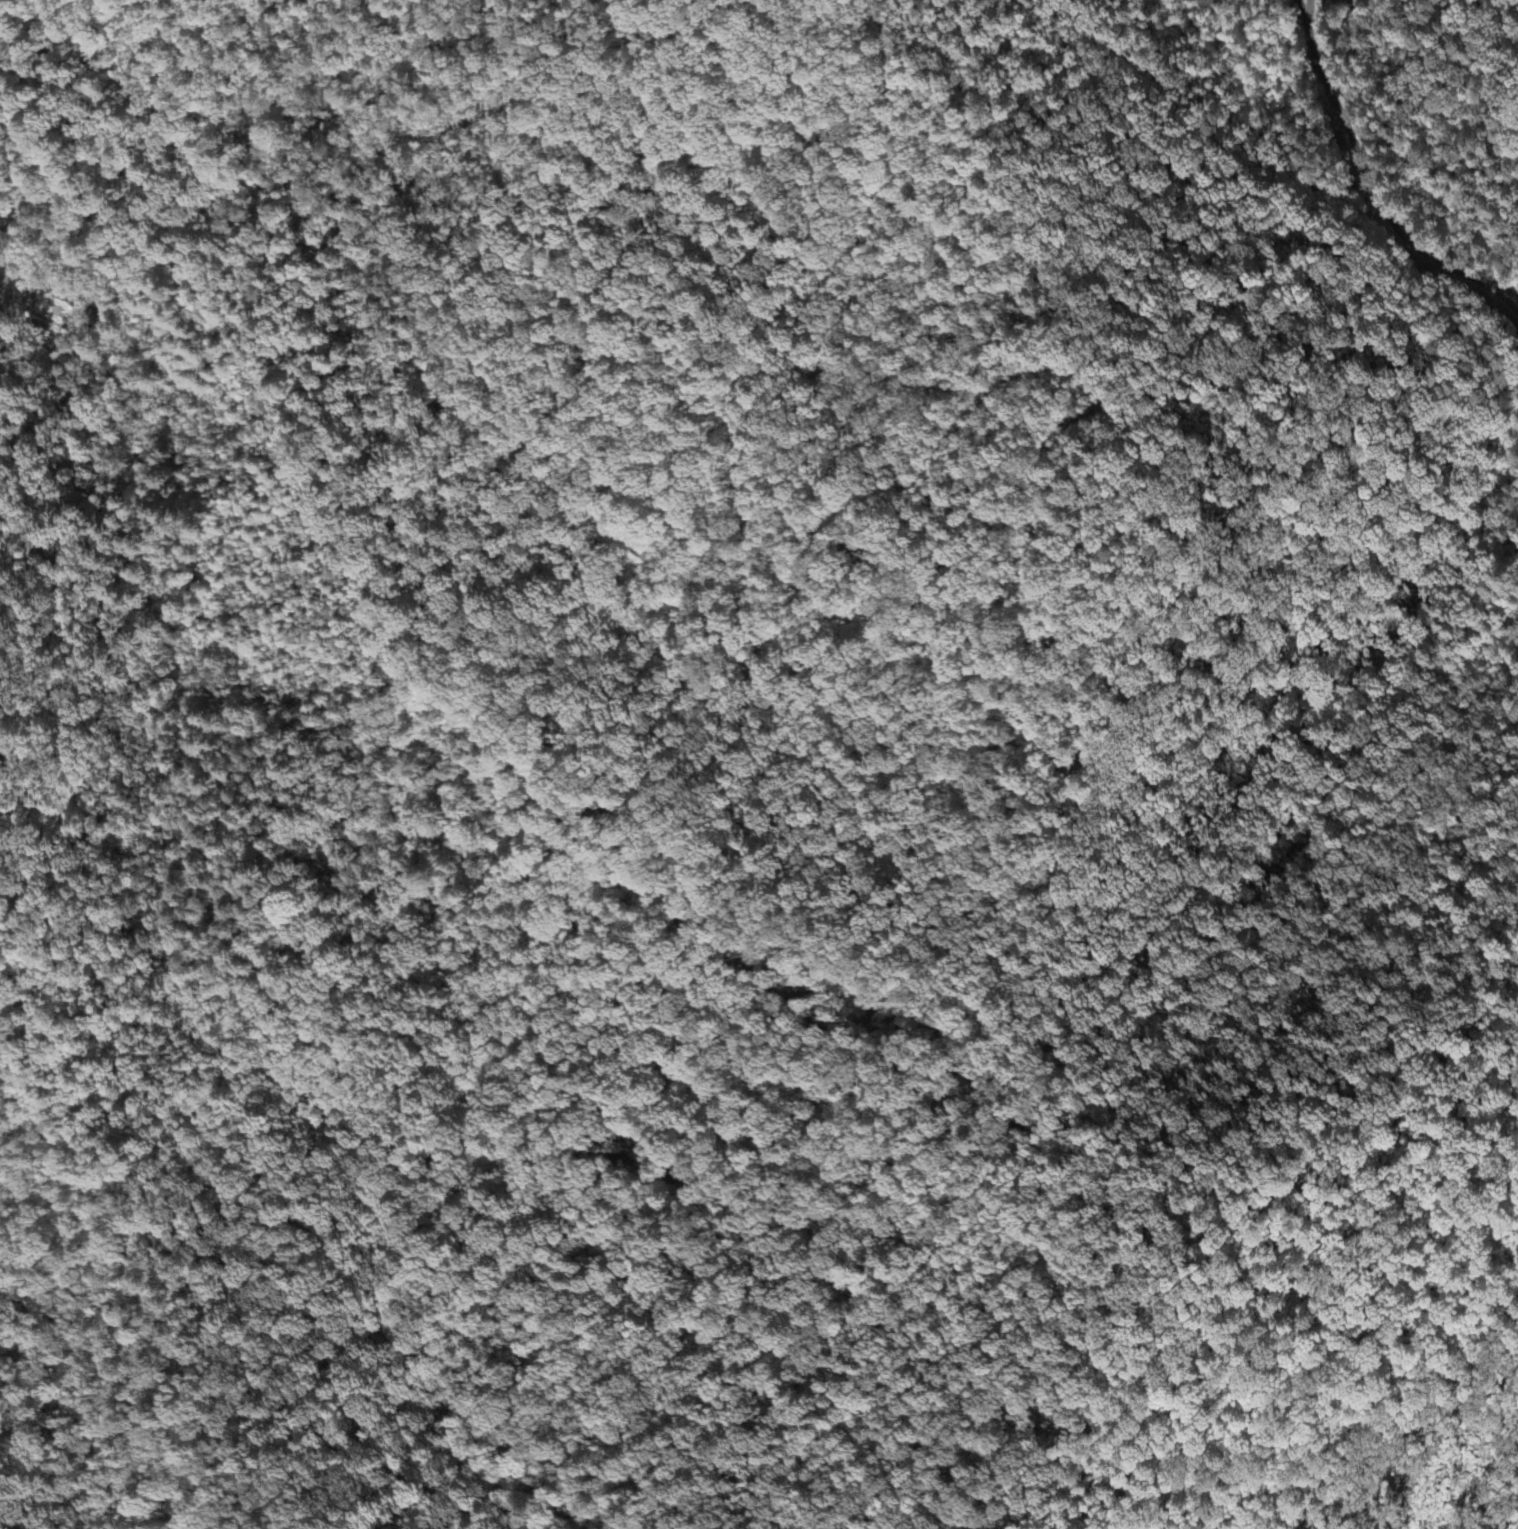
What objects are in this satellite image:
road: (1370, 183)

